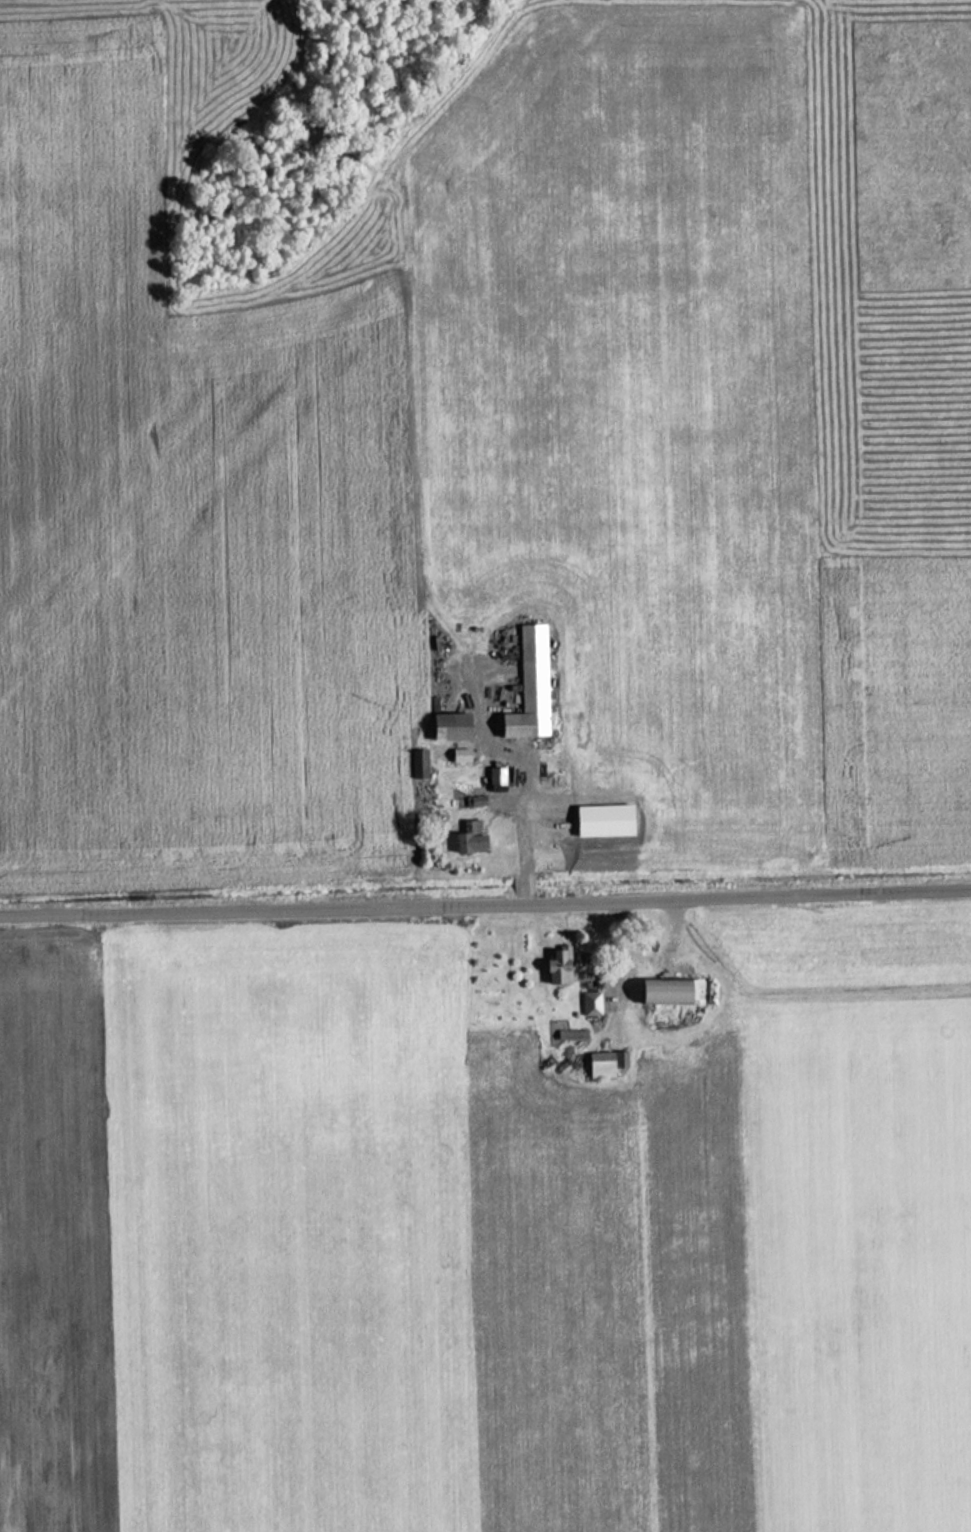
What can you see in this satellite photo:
crop: (405, 434)
building: (529, 686)
building: (451, 726)
building: (417, 763)
building: (496, 779)
building: (469, 838)
road: (485, 896)
building: (556, 972)
building: (671, 991)
building: (589, 1004)
building: (600, 1065)
crop: (55, 1242)
crop: (527, 1258)

